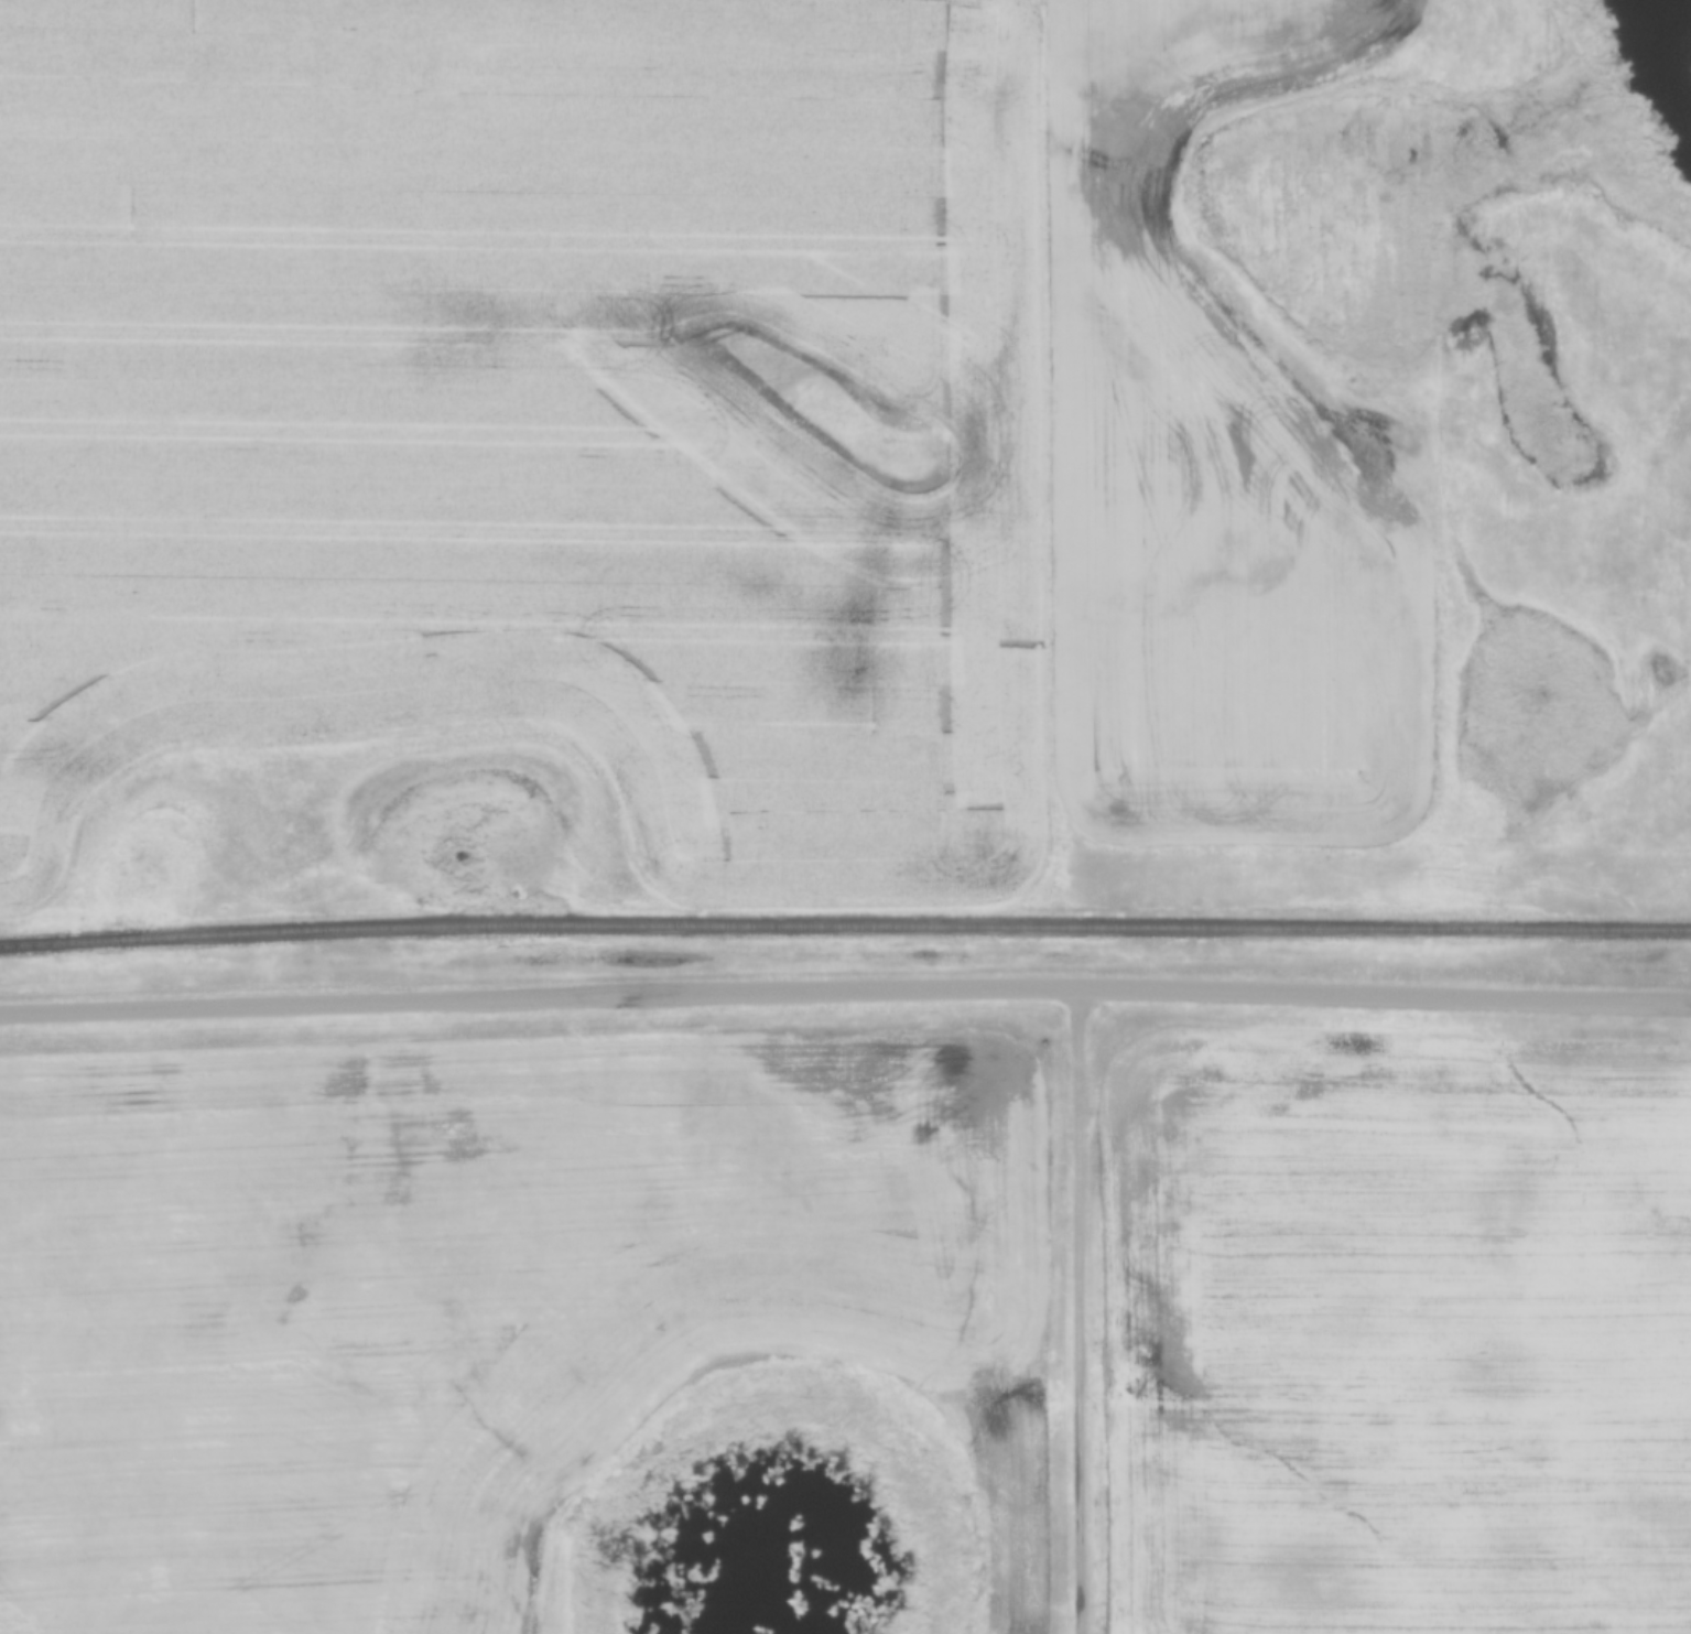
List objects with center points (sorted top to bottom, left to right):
railway: (845, 920)
road: (845, 992)
road: (1081, 1311)

